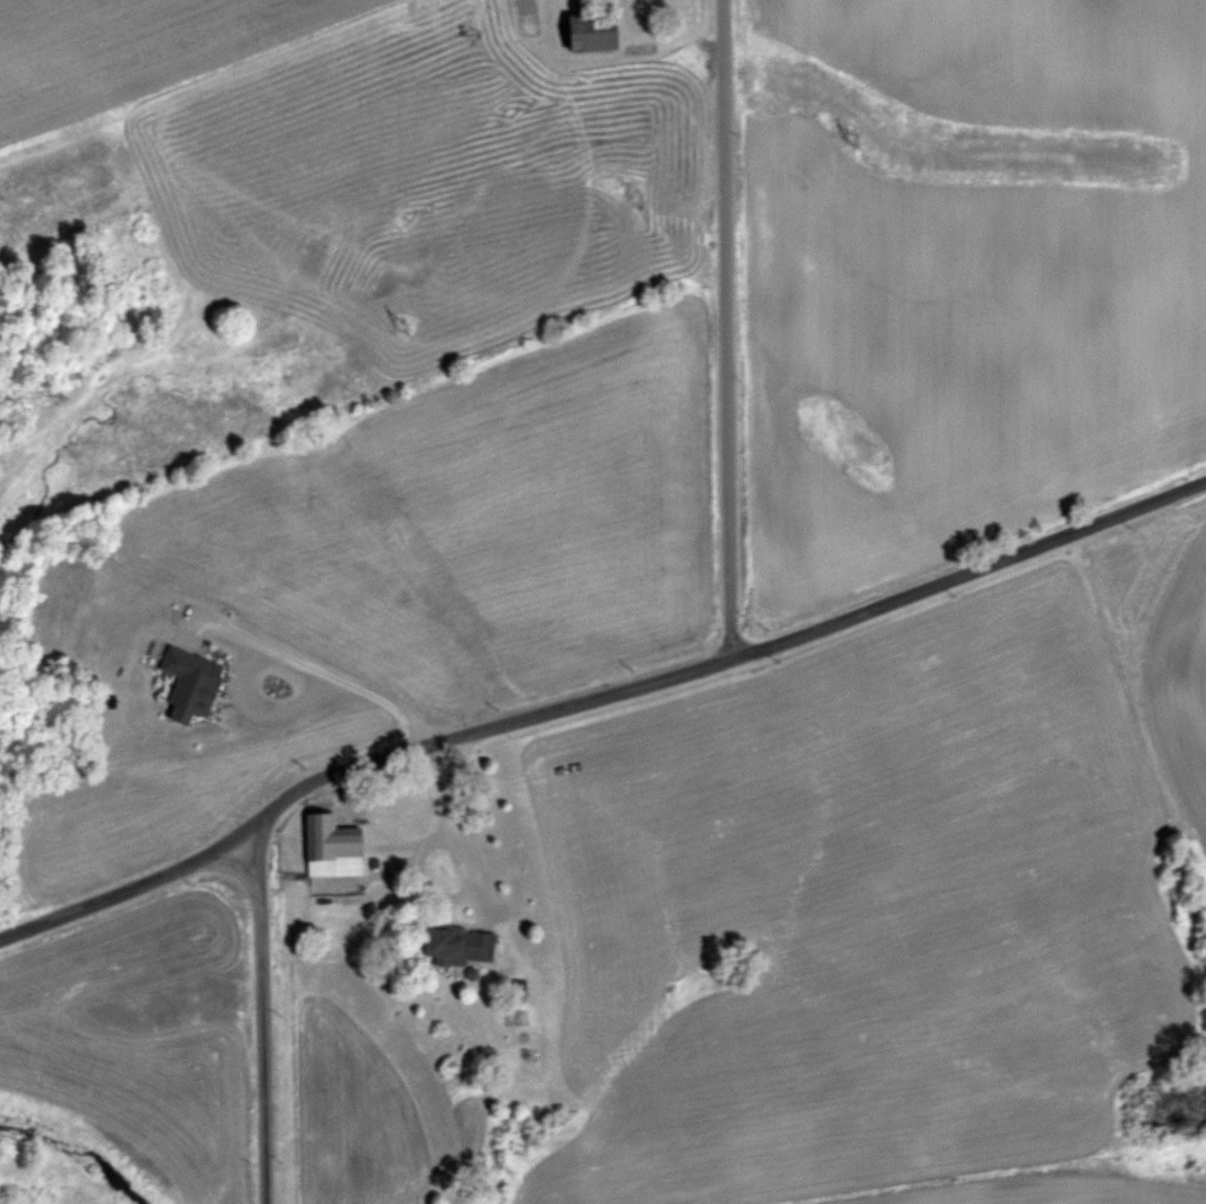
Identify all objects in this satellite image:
building: (601, 30)
road: (720, 324)
road: (315, 666)
road: (590, 689)
road: (452, 777)
building: (336, 847)
road: (434, 894)
building: (464, 945)
road: (258, 1023)

